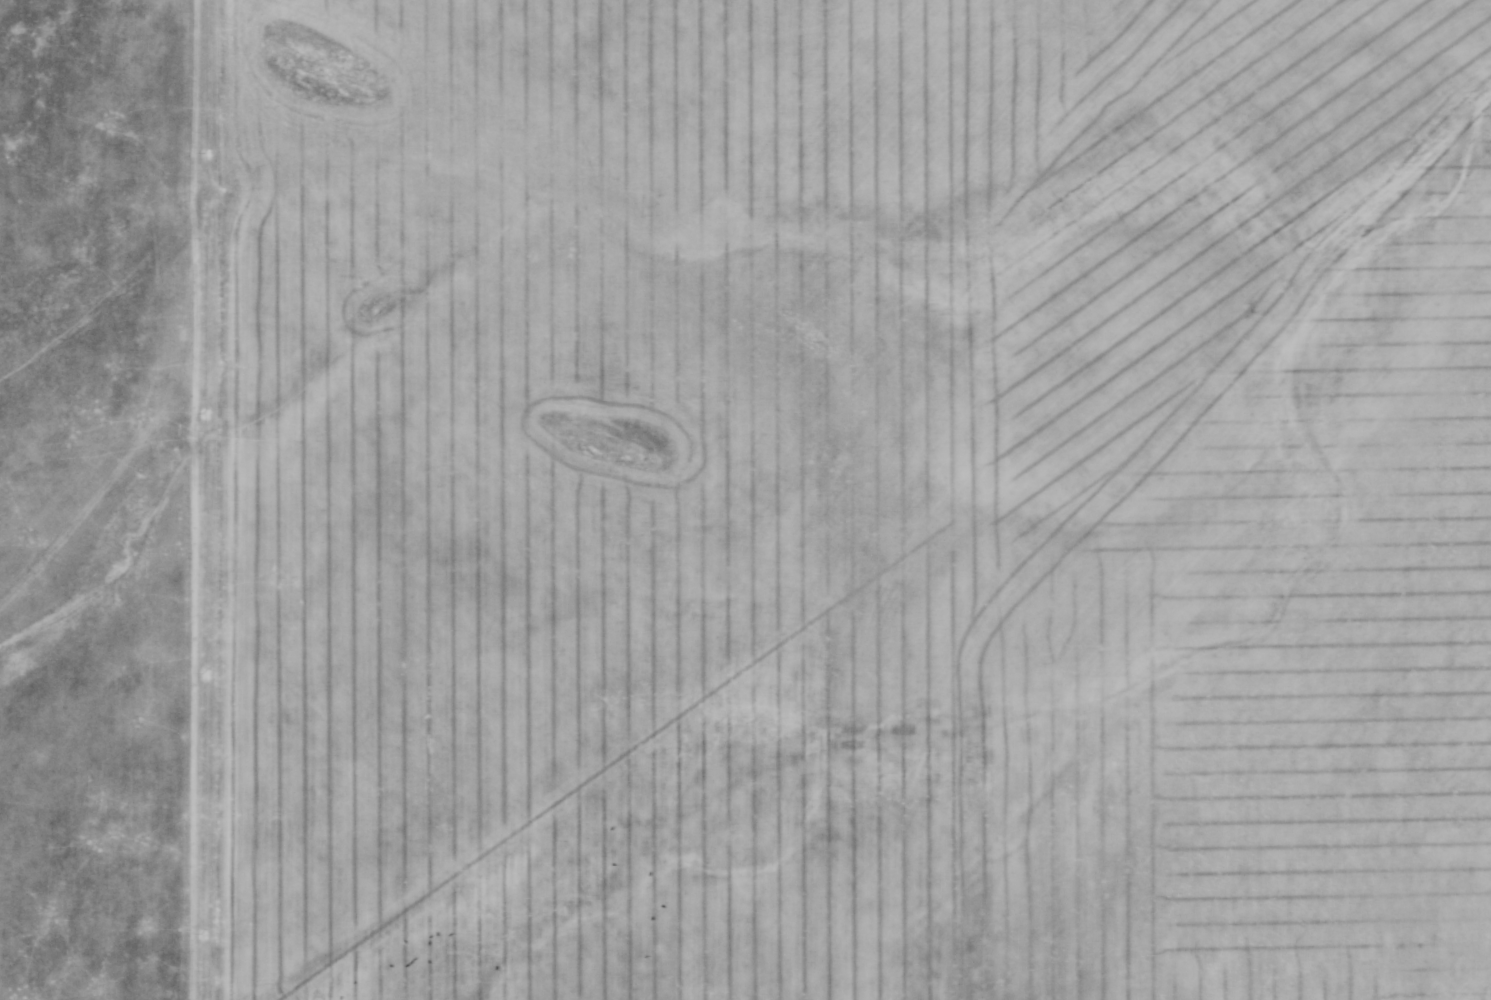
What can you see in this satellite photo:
road: (101, 491)
road: (195, 500)

